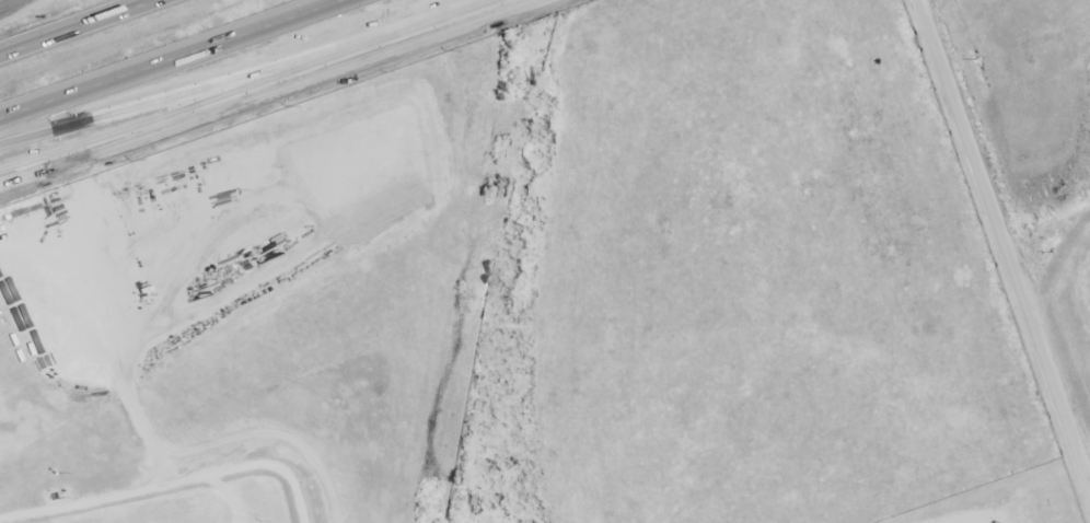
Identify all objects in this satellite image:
road: (9, 4)
road: (460, 19)
road: (77, 27)
road: (166, 58)
road: (204, 107)
road: (1005, 242)

